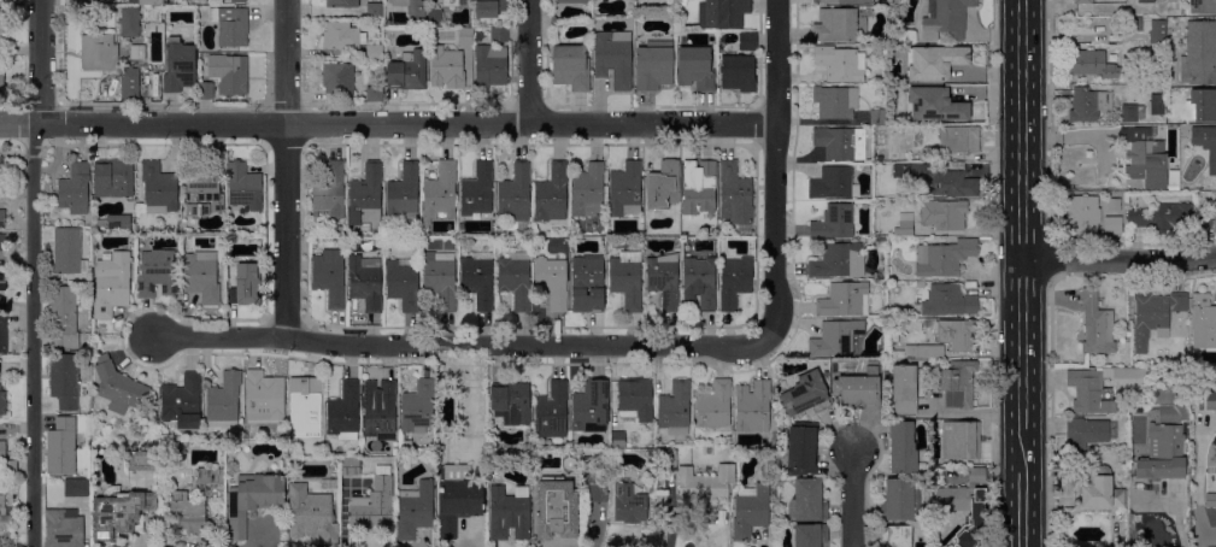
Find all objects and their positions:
building: (200, 0)
building: (237, 0)
building: (147, 1)
building: (571, 1)
building: (841, 1)
building: (1082, 1)
building: (1145, 1)
building: (341, 2)
building: (453, 2)
building: (412, 6)
building: (1203, 6)
building: (489, 7)
building: (374, 10)
building: (722, 13)
building: (0, 17)
building: (947, 17)
building: (435, 18)
building: (130, 22)
building: (1136, 24)
building: (230, 25)
building: (838, 25)
building: (1, 33)
building: (1157, 33)
building: (499, 35)
building: (340, 36)
building: (465, 36)
building: (907, 36)
building: (747, 41)
building: (98, 52)
building: (137, 52)
building: (375, 52)
building: (1199, 54)
building: (613, 58)
road: (529, 61)
building: (934, 61)
building: (840, 64)
building: (1091, 64)
building: (490, 65)
building: (653, 65)
building: (178, 66)
building: (447, 66)
building: (570, 67)
building: (694, 67)
building: (407, 71)
building: (738, 73)
building: (1, 77)
building: (234, 77)
building: (339, 78)
building: (0, 80)
building: (130, 82)
building: (205, 89)
road: (1021, 92)
building: (375, 94)
building: (835, 102)
building: (934, 104)
building: (1088, 104)
building: (1155, 105)
building: (1200, 105)
building: (1132, 112)
building: (877, 117)
road: (388, 124)
building: (959, 140)
building: (844, 143)
building: (1206, 145)
building: (1145, 157)
building: (1, 165)
road: (284, 169)
road: (774, 169)
building: (112, 178)
building: (939, 178)
building: (1173, 181)
building: (833, 183)
building: (662, 186)
building: (245, 187)
building: (75, 188)
building: (158, 189)
building: (624, 189)
building: (404, 192)
building: (441, 192)
building: (588, 192)
building: (201, 193)
building: (329, 193)
building: (477, 193)
building: (515, 193)
building: (552, 193)
building: (701, 193)
building: (366, 198)
building: (735, 198)
building: (1114, 204)
building: (130, 206)
building: (1081, 216)
building: (934, 217)
building: (1162, 217)
building: (2, 218)
building: (1206, 220)
building: (835, 222)
road: (1022, 222)
building: (118, 223)
building: (1112, 225)
building: (342, 228)
building: (235, 231)
building: (235, 235)
building: (881, 241)
building: (2, 242)
building: (869, 242)
building: (67, 252)
building: (944, 258)
road: (1118, 260)
building: (838, 261)
road: (33, 272)
building: (157, 273)
building: (202, 275)
building: (440, 278)
building: (329, 280)
building: (477, 280)
building: (515, 280)
building: (627, 280)
building: (663, 280)
building: (552, 281)
building: (2, 282)
building: (365, 282)
building: (700, 282)
building: (734, 282)
building: (403, 283)
building: (112, 284)
building: (587, 284)
building: (246, 286)
building: (844, 300)
building: (944, 300)
building: (63, 316)
building: (1155, 316)
building: (882, 322)
building: (1203, 322)
building: (1097, 324)
building: (2, 334)
building: (957, 334)
building: (835, 339)
road: (465, 346)
building: (924, 352)
building: (877, 361)
road: (1022, 366)
building: (64, 380)
building: (958, 384)
building: (118, 387)
building: (1097, 388)
building: (858, 390)
building: (904, 390)
building: (805, 394)
building: (1164, 395)
building: (264, 396)
building: (635, 399)
building: (223, 400)
building: (1202, 400)
building: (183, 401)
building: (511, 401)
building: (2, 402)
building: (305, 404)
building: (713, 405)
building: (591, 406)
building: (378, 407)
building: (418, 407)
building: (752, 407)
building: (675, 408)
building: (343, 410)
building: (552, 411)
building: (1141, 412)
building: (1181, 412)
building: (1085, 433)
building: (617, 440)
building: (961, 440)
building: (172, 445)
building: (61, 447)
building: (903, 448)
building: (1, 449)
building: (803, 449)
building: (648, 453)
building: (1162, 454)
building: (142, 460)
building: (669, 461)
building: (349, 466)
building: (10, 469)
building: (206, 476)
building: (594, 478)
building: (705, 484)
building: (1215, 484)
building: (76, 488)
building: (1098, 488)
building: (651, 490)
road: (851, 495)
building: (457, 499)
building: (1210, 499)
building: (252, 500)
building: (900, 500)
building: (806, 501)
building: (374, 502)
building: (629, 504)
building: (964, 504)
building: (556, 508)
road: (1022, 510)
building: (413, 511)
building: (507, 511)
building: (750, 511)
building: (188, 513)
building: (121, 514)
building: (4, 516)
building: (311, 516)
building: (64, 528)
building: (810, 535)
building: (897, 536)

